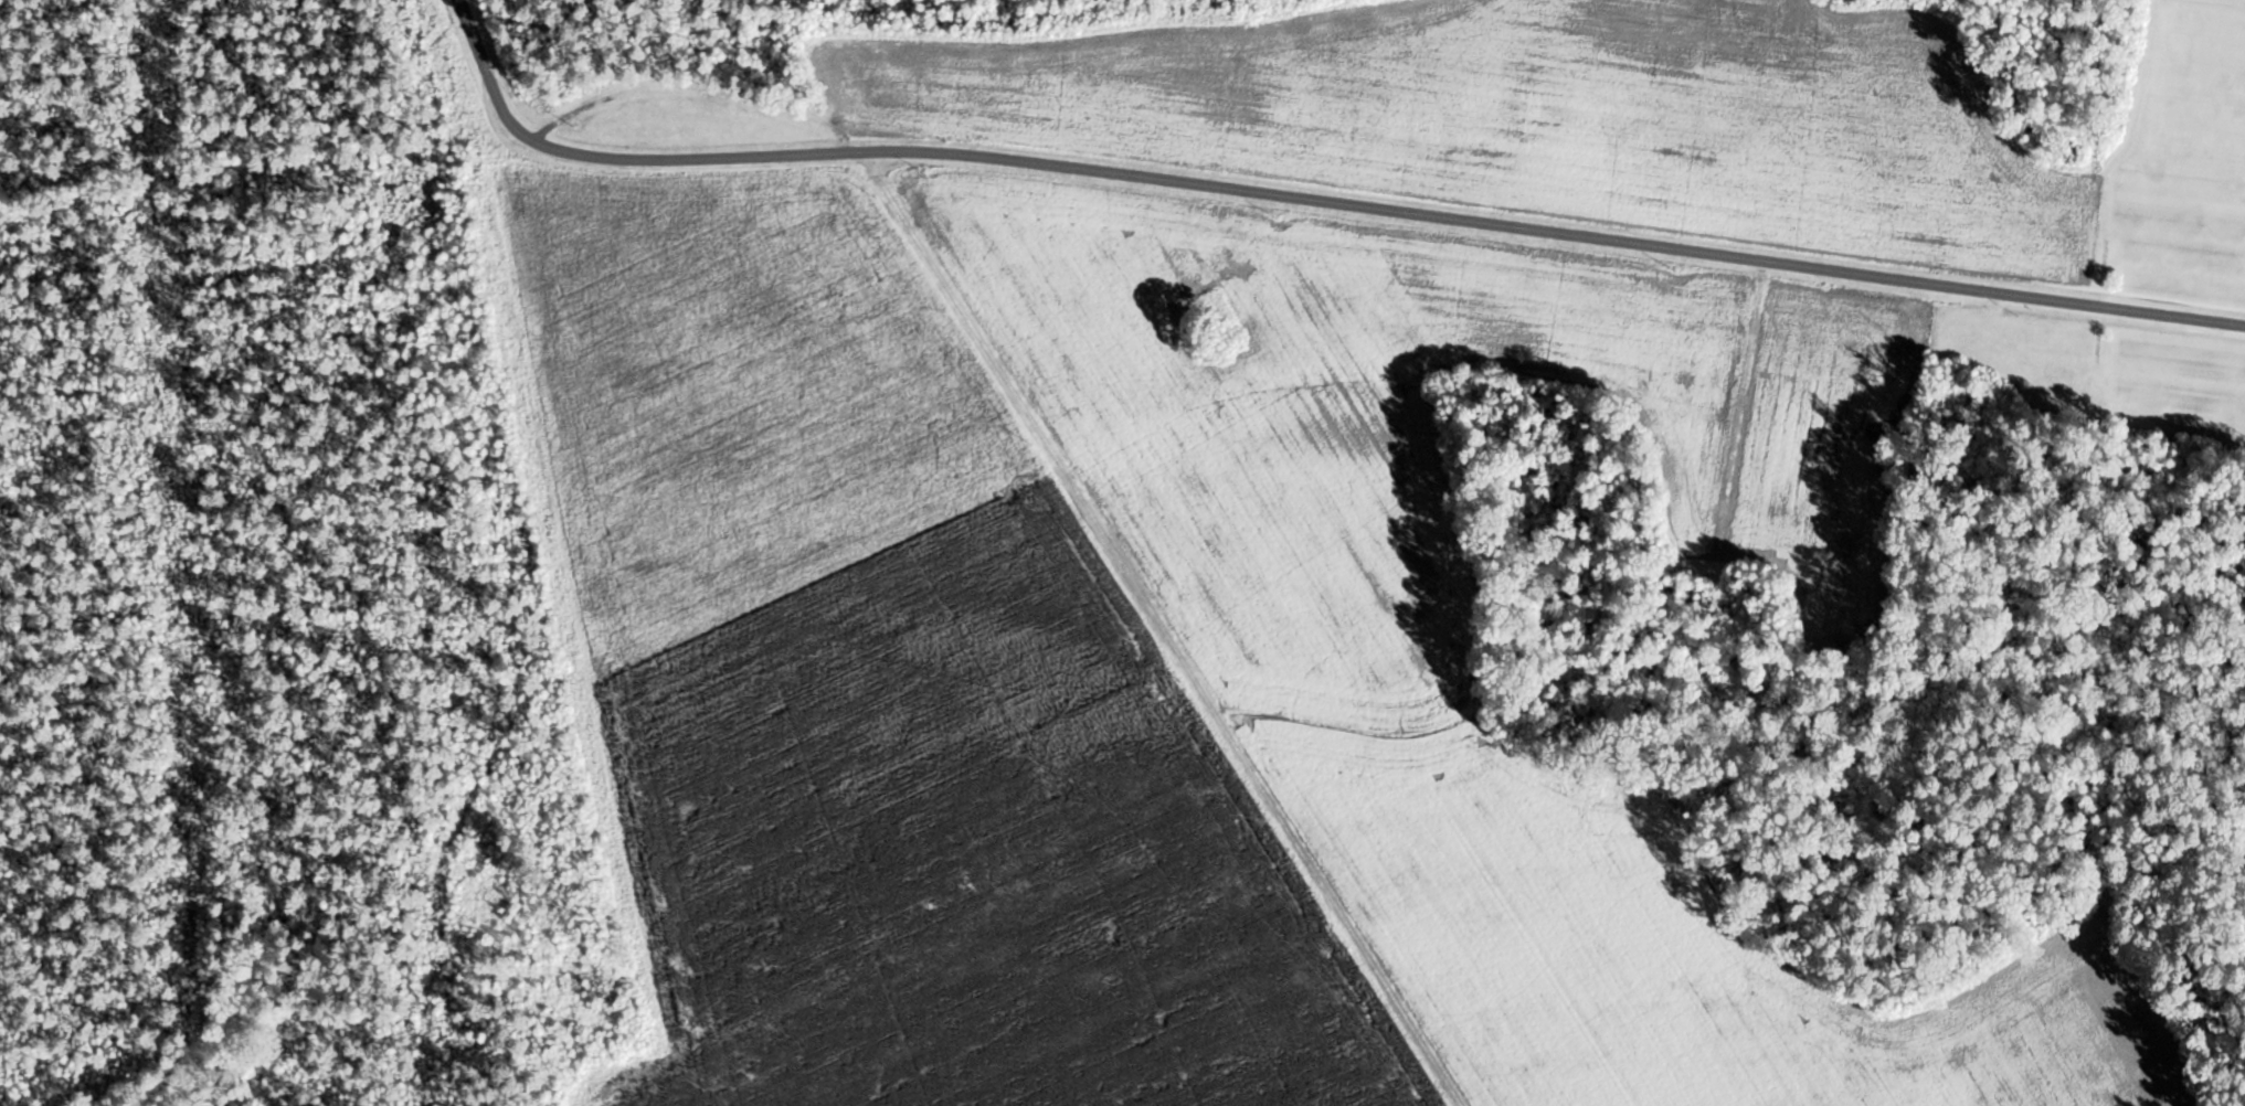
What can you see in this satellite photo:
road: (617, 157)
road: (1556, 232)
park: (1042, 549)
road: (1157, 630)

